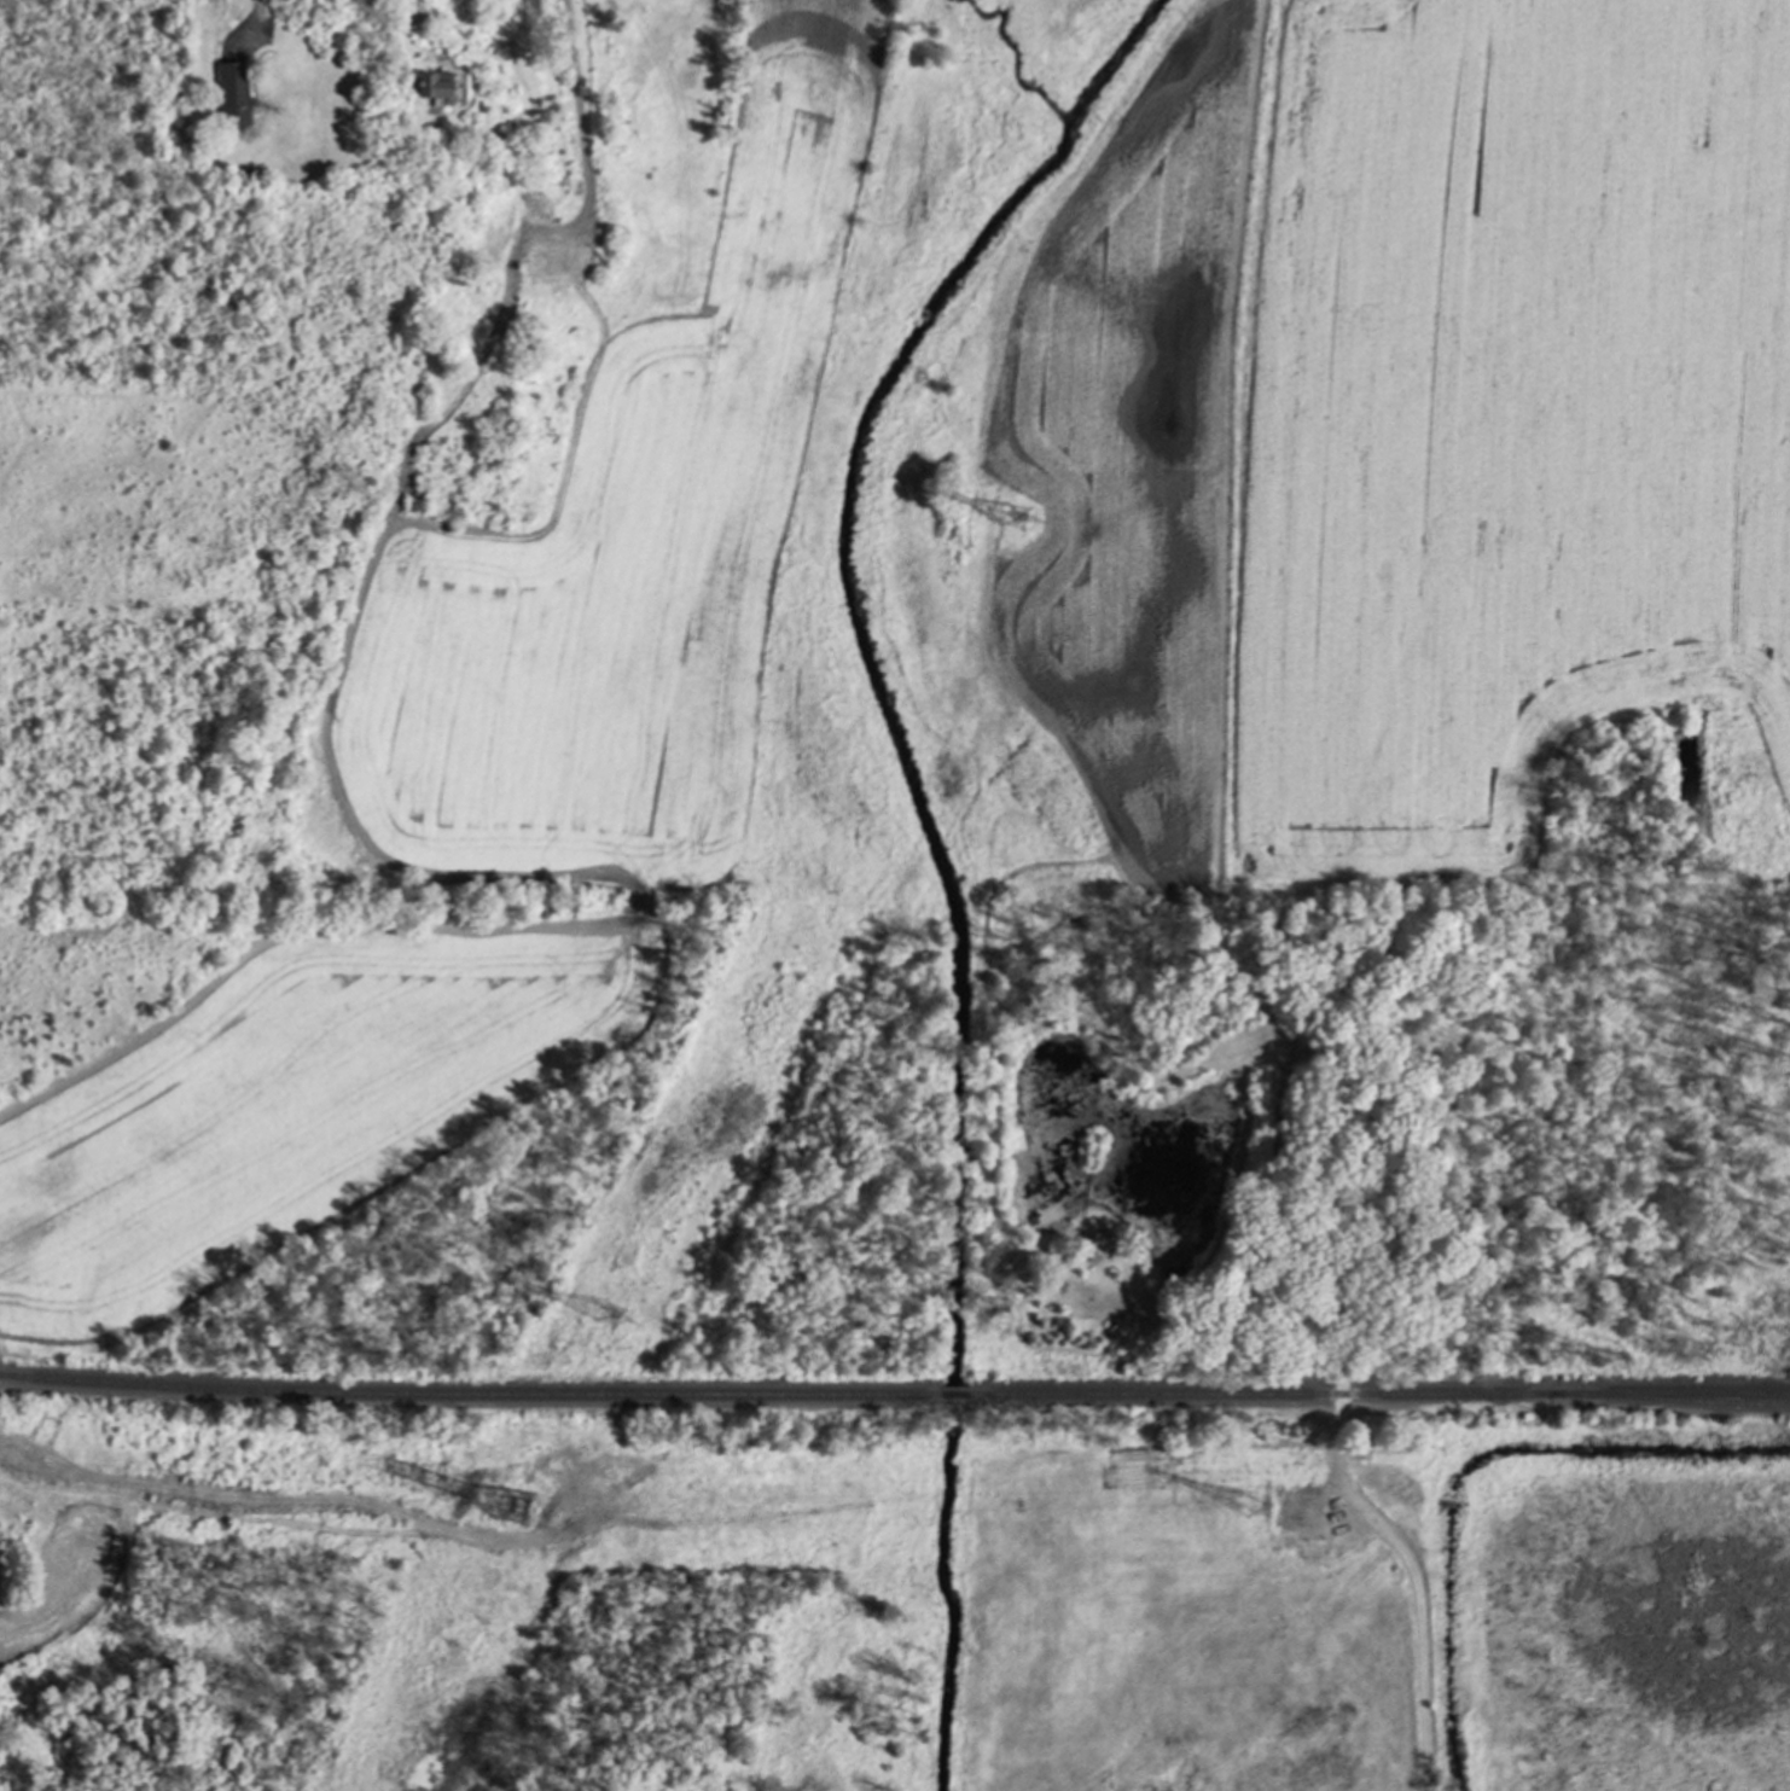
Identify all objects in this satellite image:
road: (414, 2)
road: (260, 5)
building: (436, 86)
building: (231, 97)
crop: (1402, 428)
power tower: (1013, 519)
crop: (632, 539)
road: (355, 824)
crop: (291, 1105)
building: (1094, 1244)
power tower: (610, 1314)
railway: (469, 1395)
railway: (953, 1395)
railway: (1379, 1396)
railway: (1668, 1401)
power tower: (1260, 1505)
power tower: (517, 1508)
road: (1408, 1560)
crop: (65, 1580)

